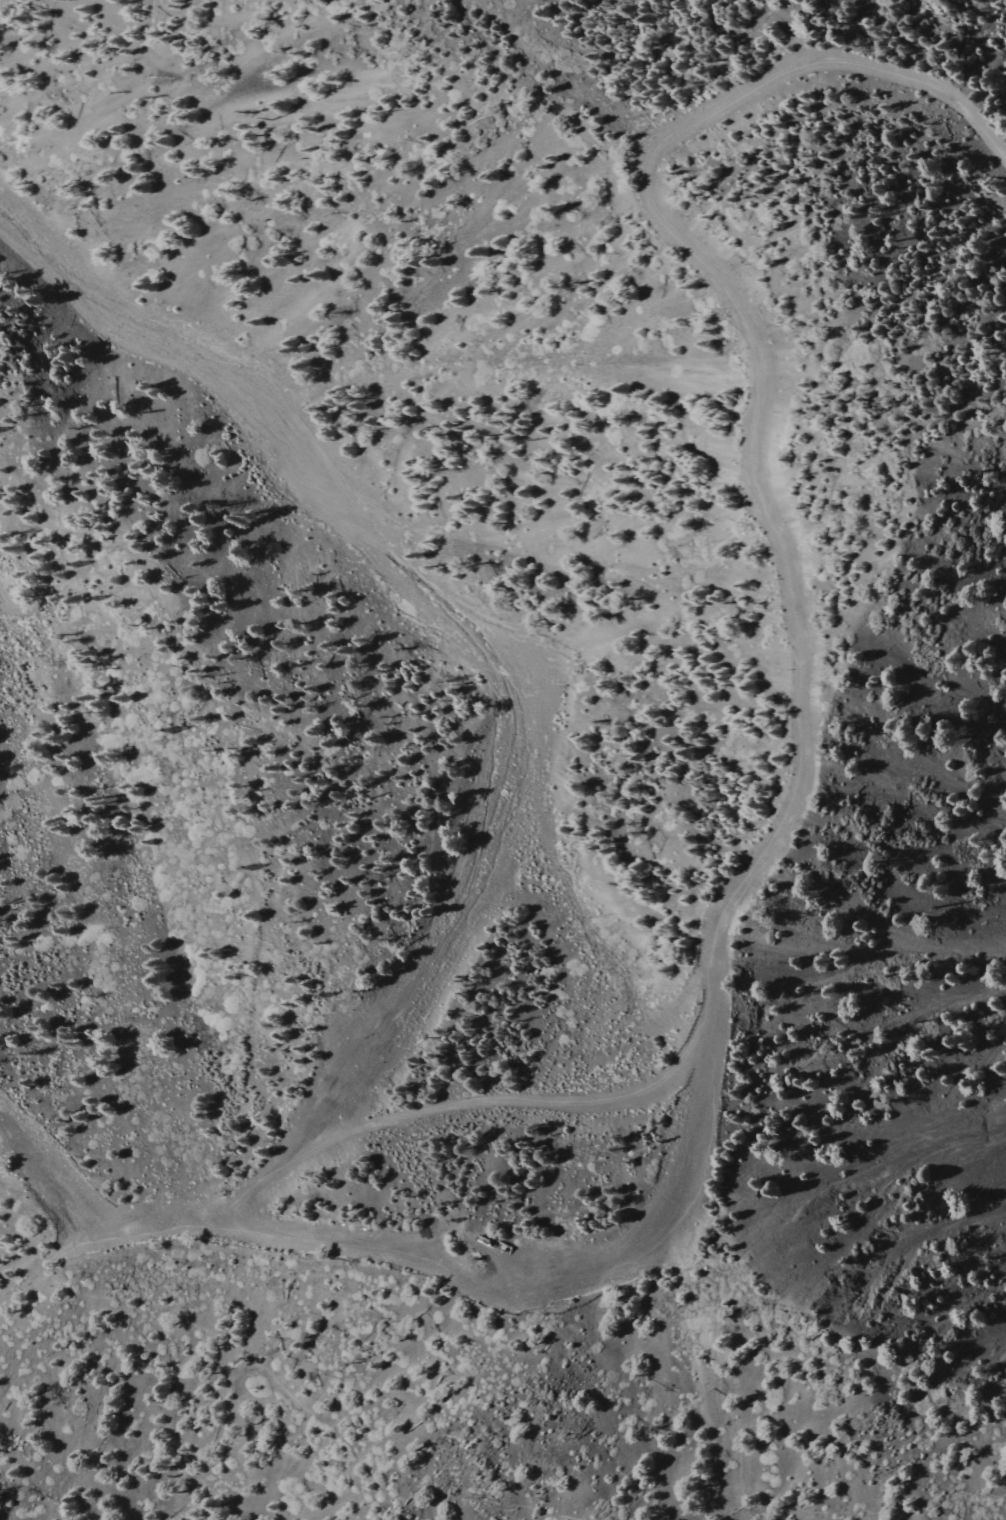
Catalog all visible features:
road: (769, 385)
aerialway pylon: (72, 564)
ski resort: (399, 604)
aerialway pylon: (167, 730)
aerialway pylon: (245, 867)
aerialway pylon: (319, 995)
road: (429, 1111)
road: (662, 1213)
aerialway pylon: (445, 1215)
road: (109, 1237)
road: (327, 1240)
building: (480, 1253)
road: (299, 1404)
road: (804, 1507)

